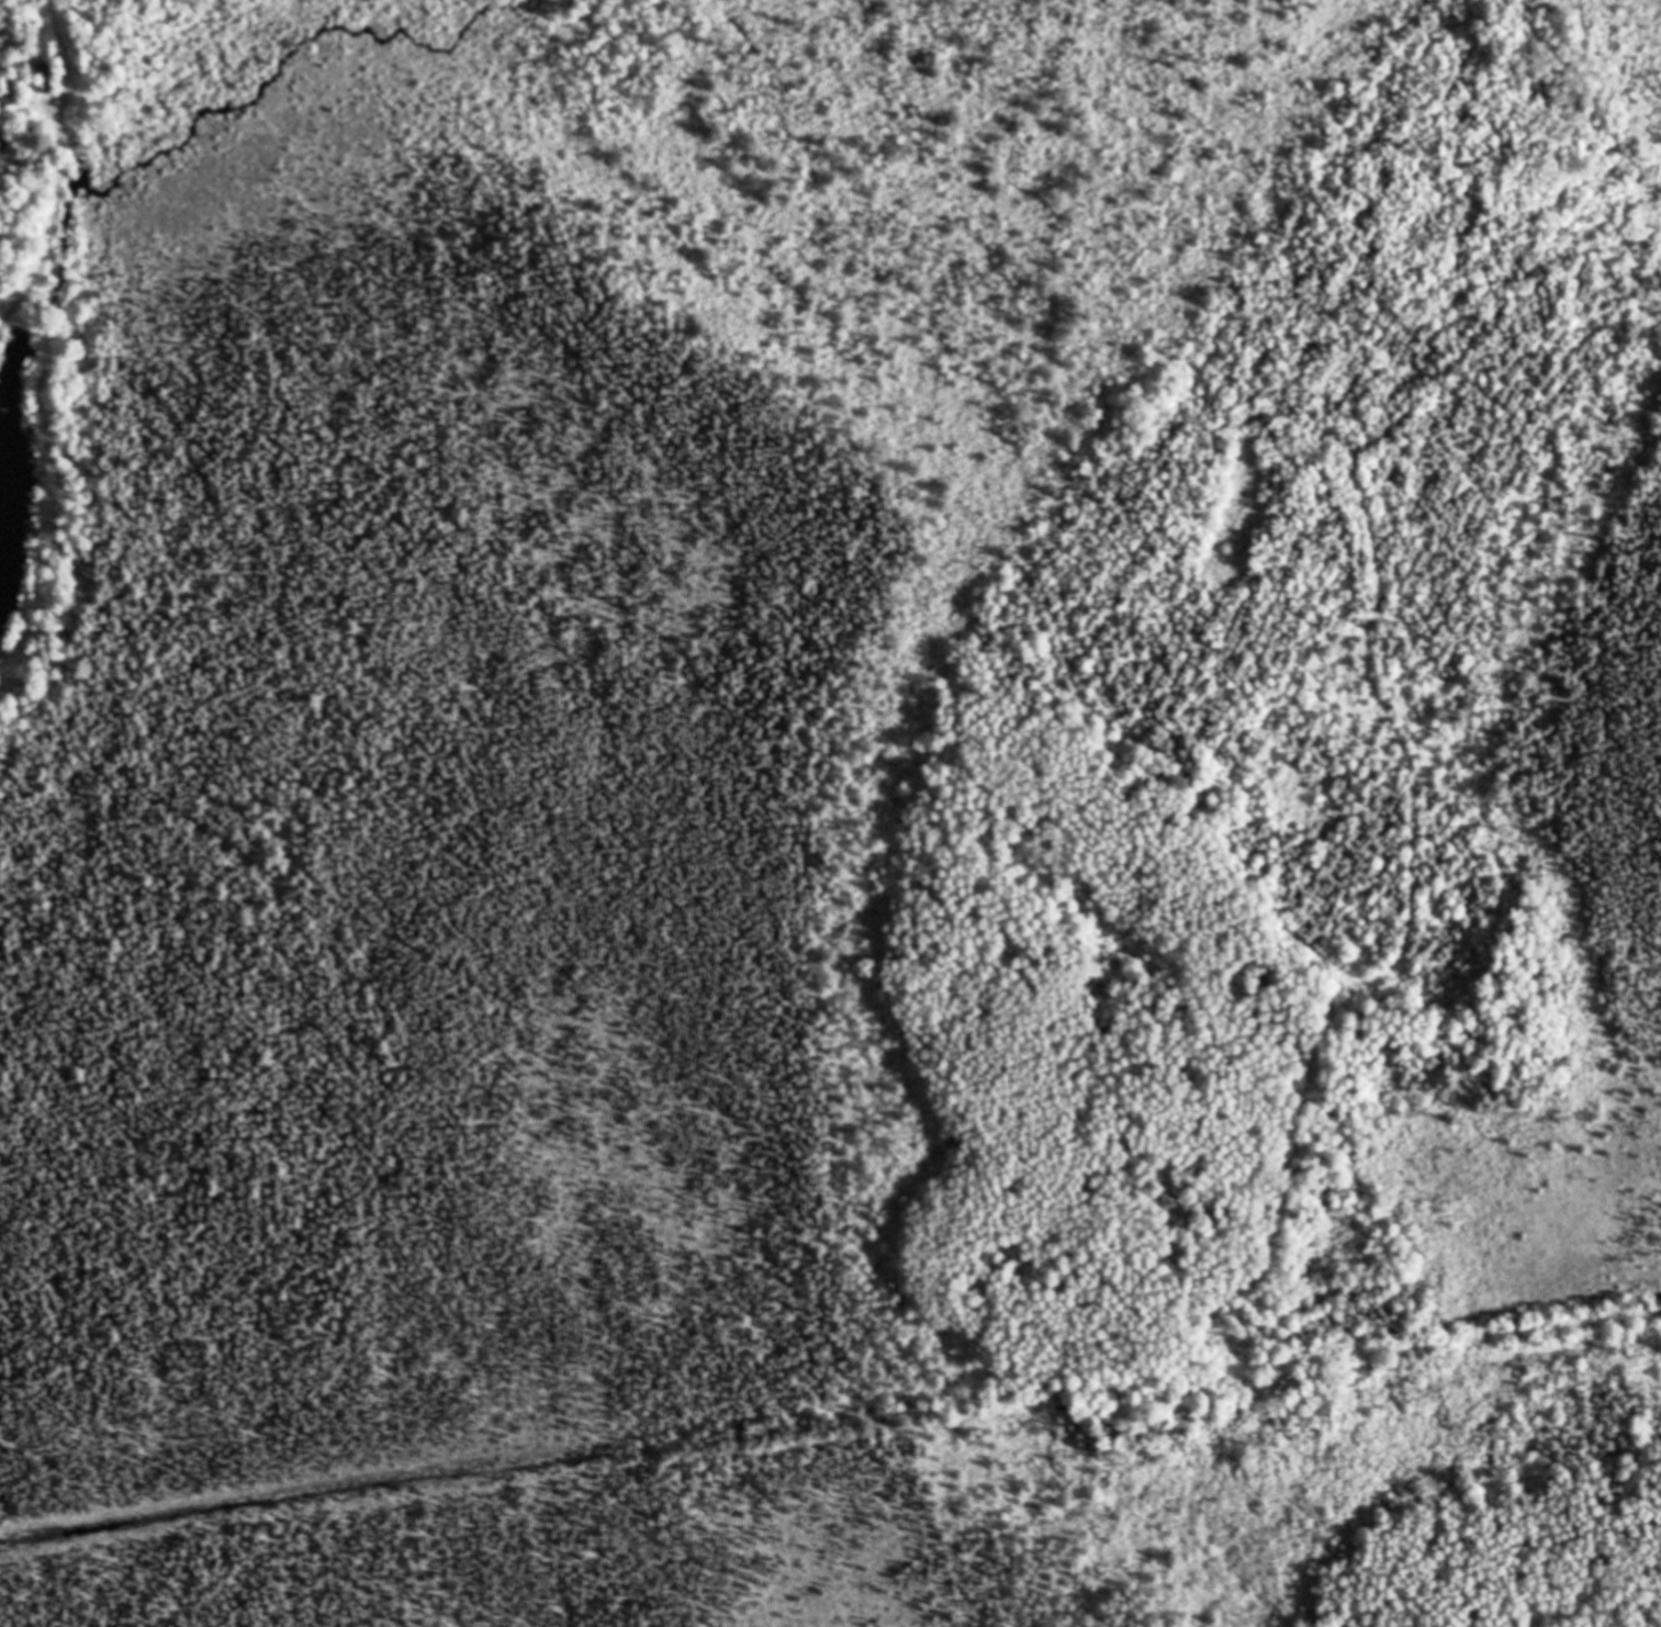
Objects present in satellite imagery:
road: (53, 170)

